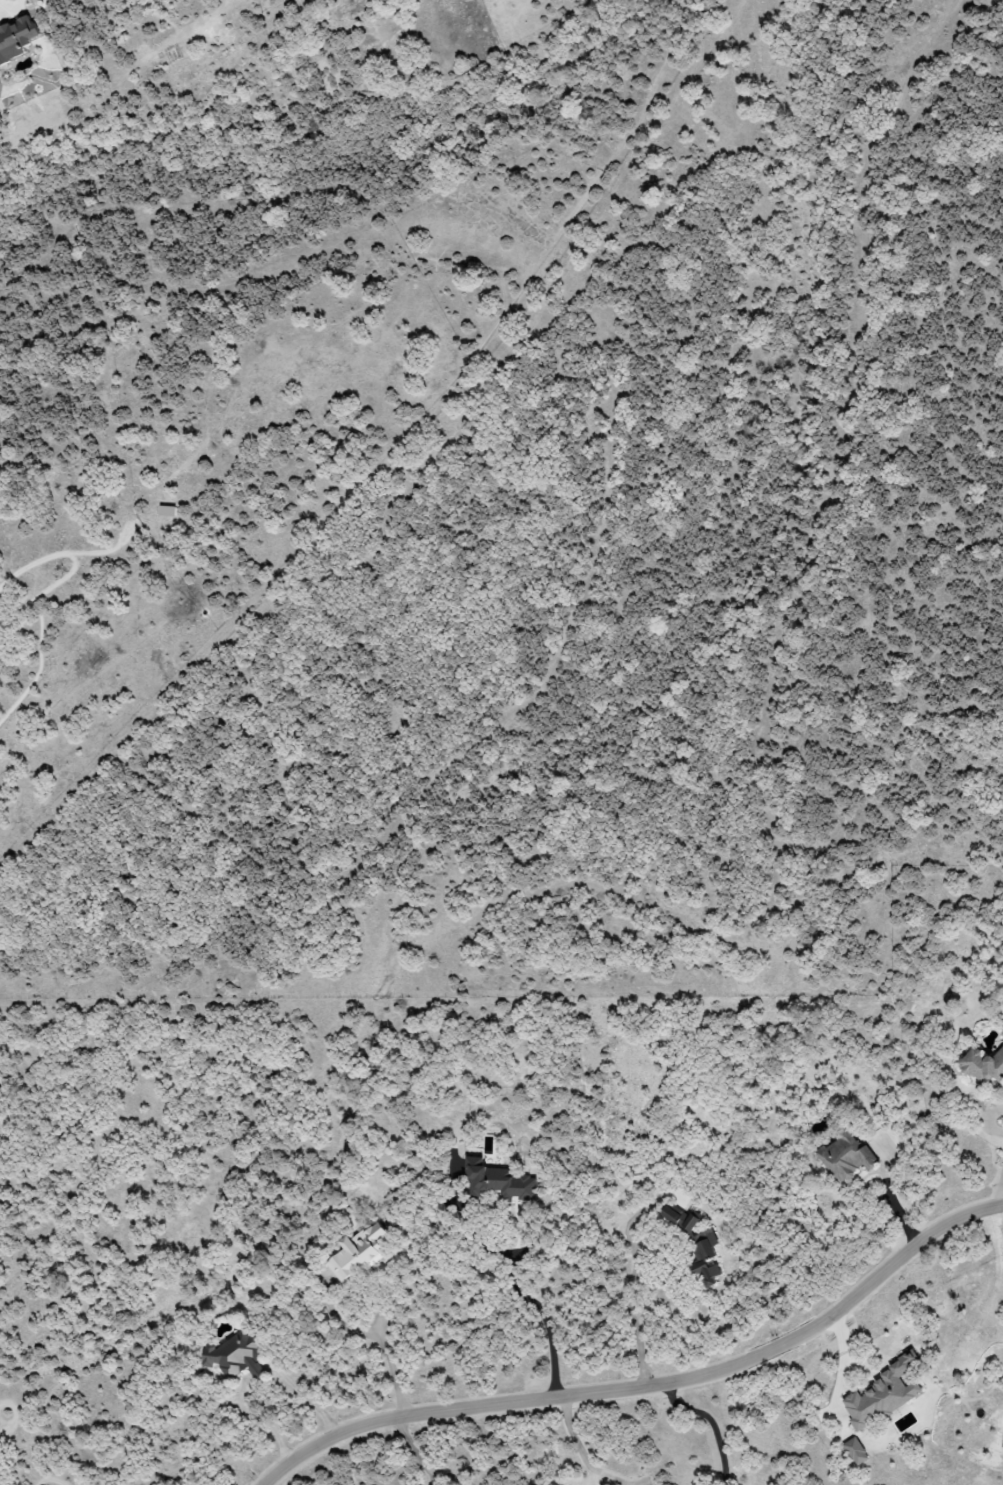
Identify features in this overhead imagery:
building: (16, 38)
building: (167, 511)
building: (983, 1064)
building: (846, 1156)
building: (498, 1181)
road: (1000, 1195)
road: (895, 1206)
building: (698, 1248)
building: (357, 1252)
road: (627, 1287)
road: (532, 1306)
road: (373, 1341)
building: (236, 1356)
road: (259, 1372)
road: (648, 1388)
road: (306, 1392)
building: (881, 1395)
road: (266, 1417)
road: (712, 1423)
building: (855, 1451)
road: (580, 1453)
road: (422, 1463)

